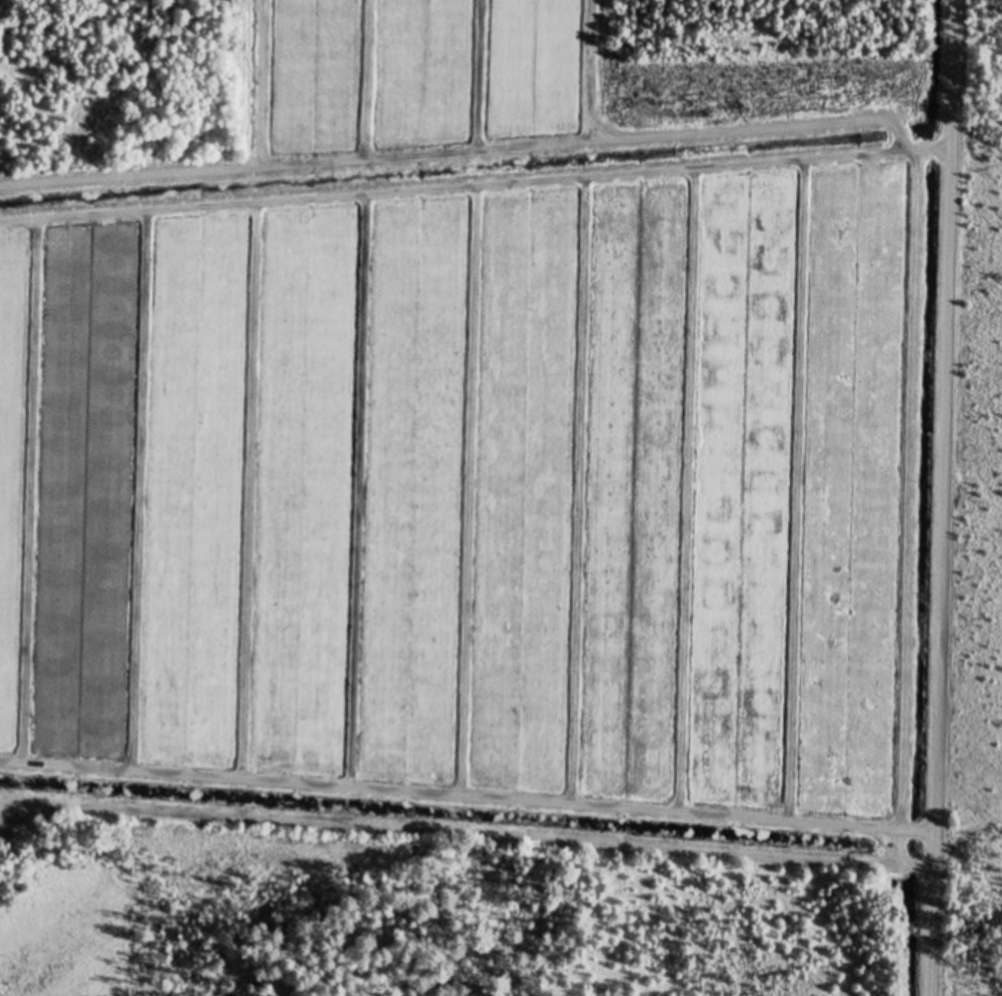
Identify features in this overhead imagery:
crop: (420, 73)
crop: (467, 491)
road: (940, 497)

